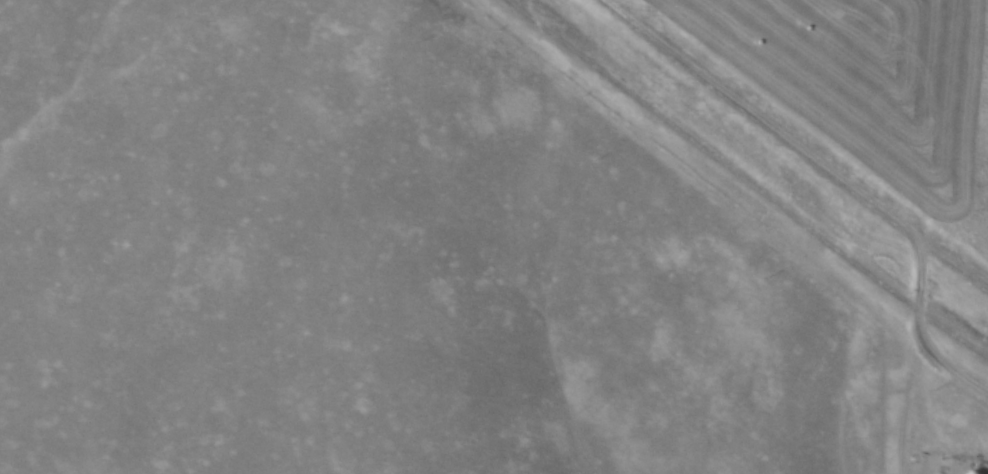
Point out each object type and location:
road: (786, 146)
railway: (740, 176)

